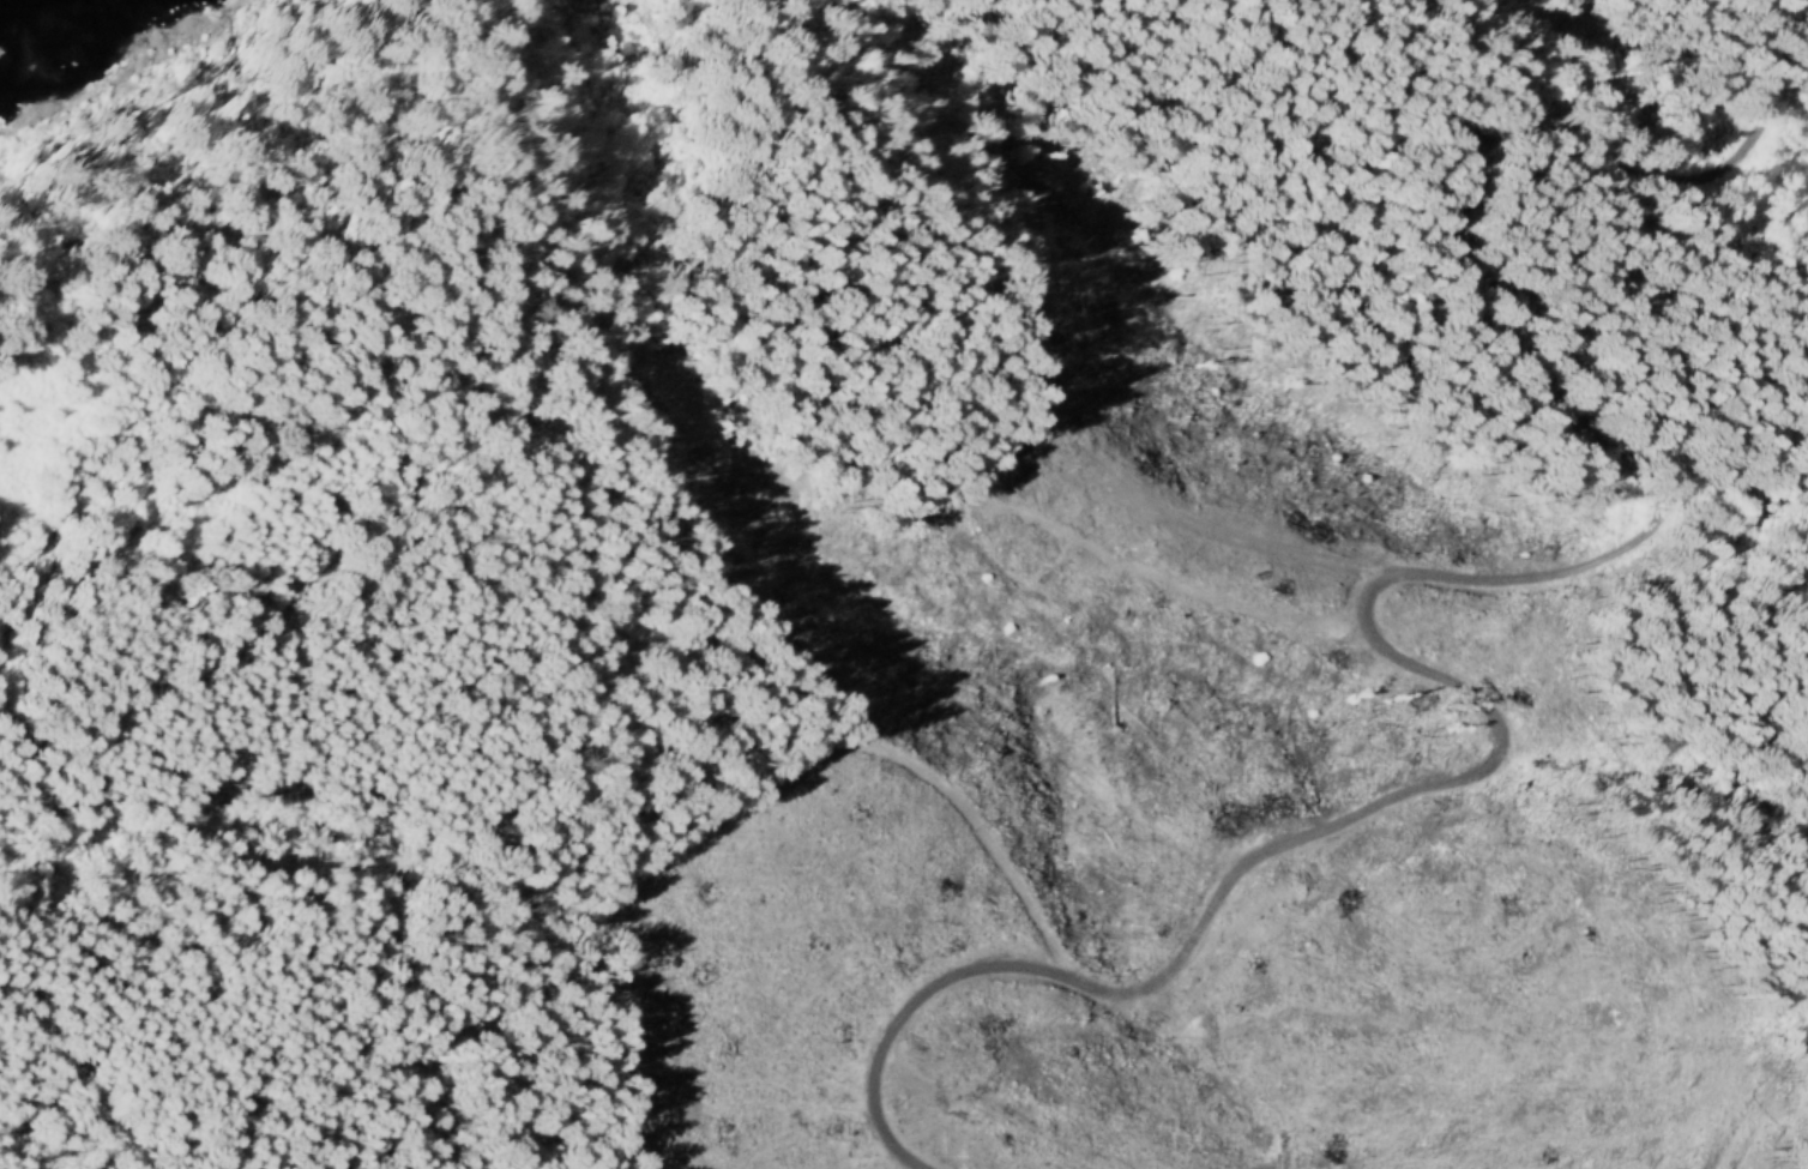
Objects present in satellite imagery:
road: (1487, 611)

